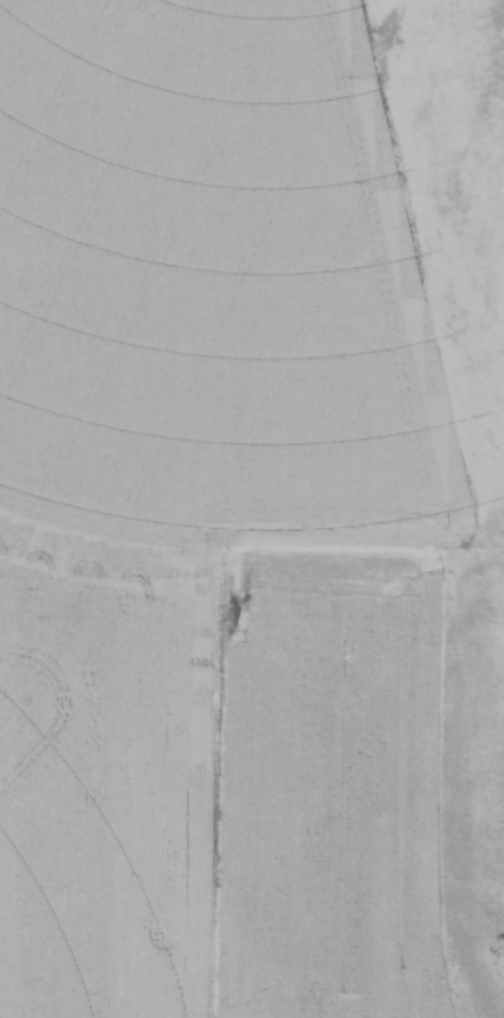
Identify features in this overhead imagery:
power tower: (227, 614)

